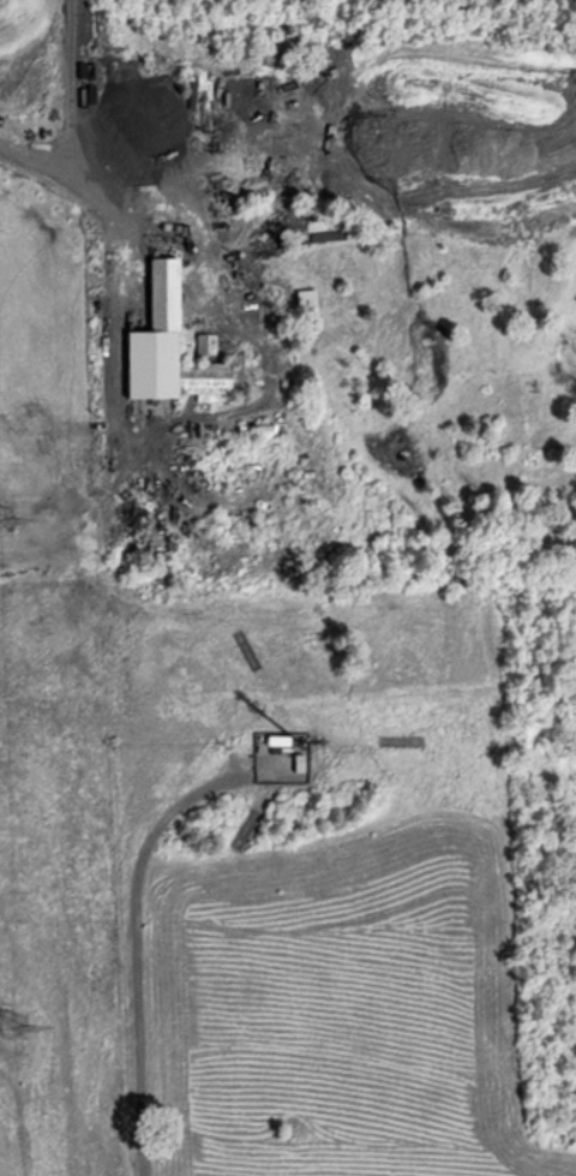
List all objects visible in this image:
road: (73, 91)
road: (50, 173)
building: (313, 227)
building: (305, 299)
building: (204, 344)
building: (166, 346)
building: (280, 738)
building: (301, 760)
road: (239, 763)
road: (134, 942)
power tower: (12, 1027)

